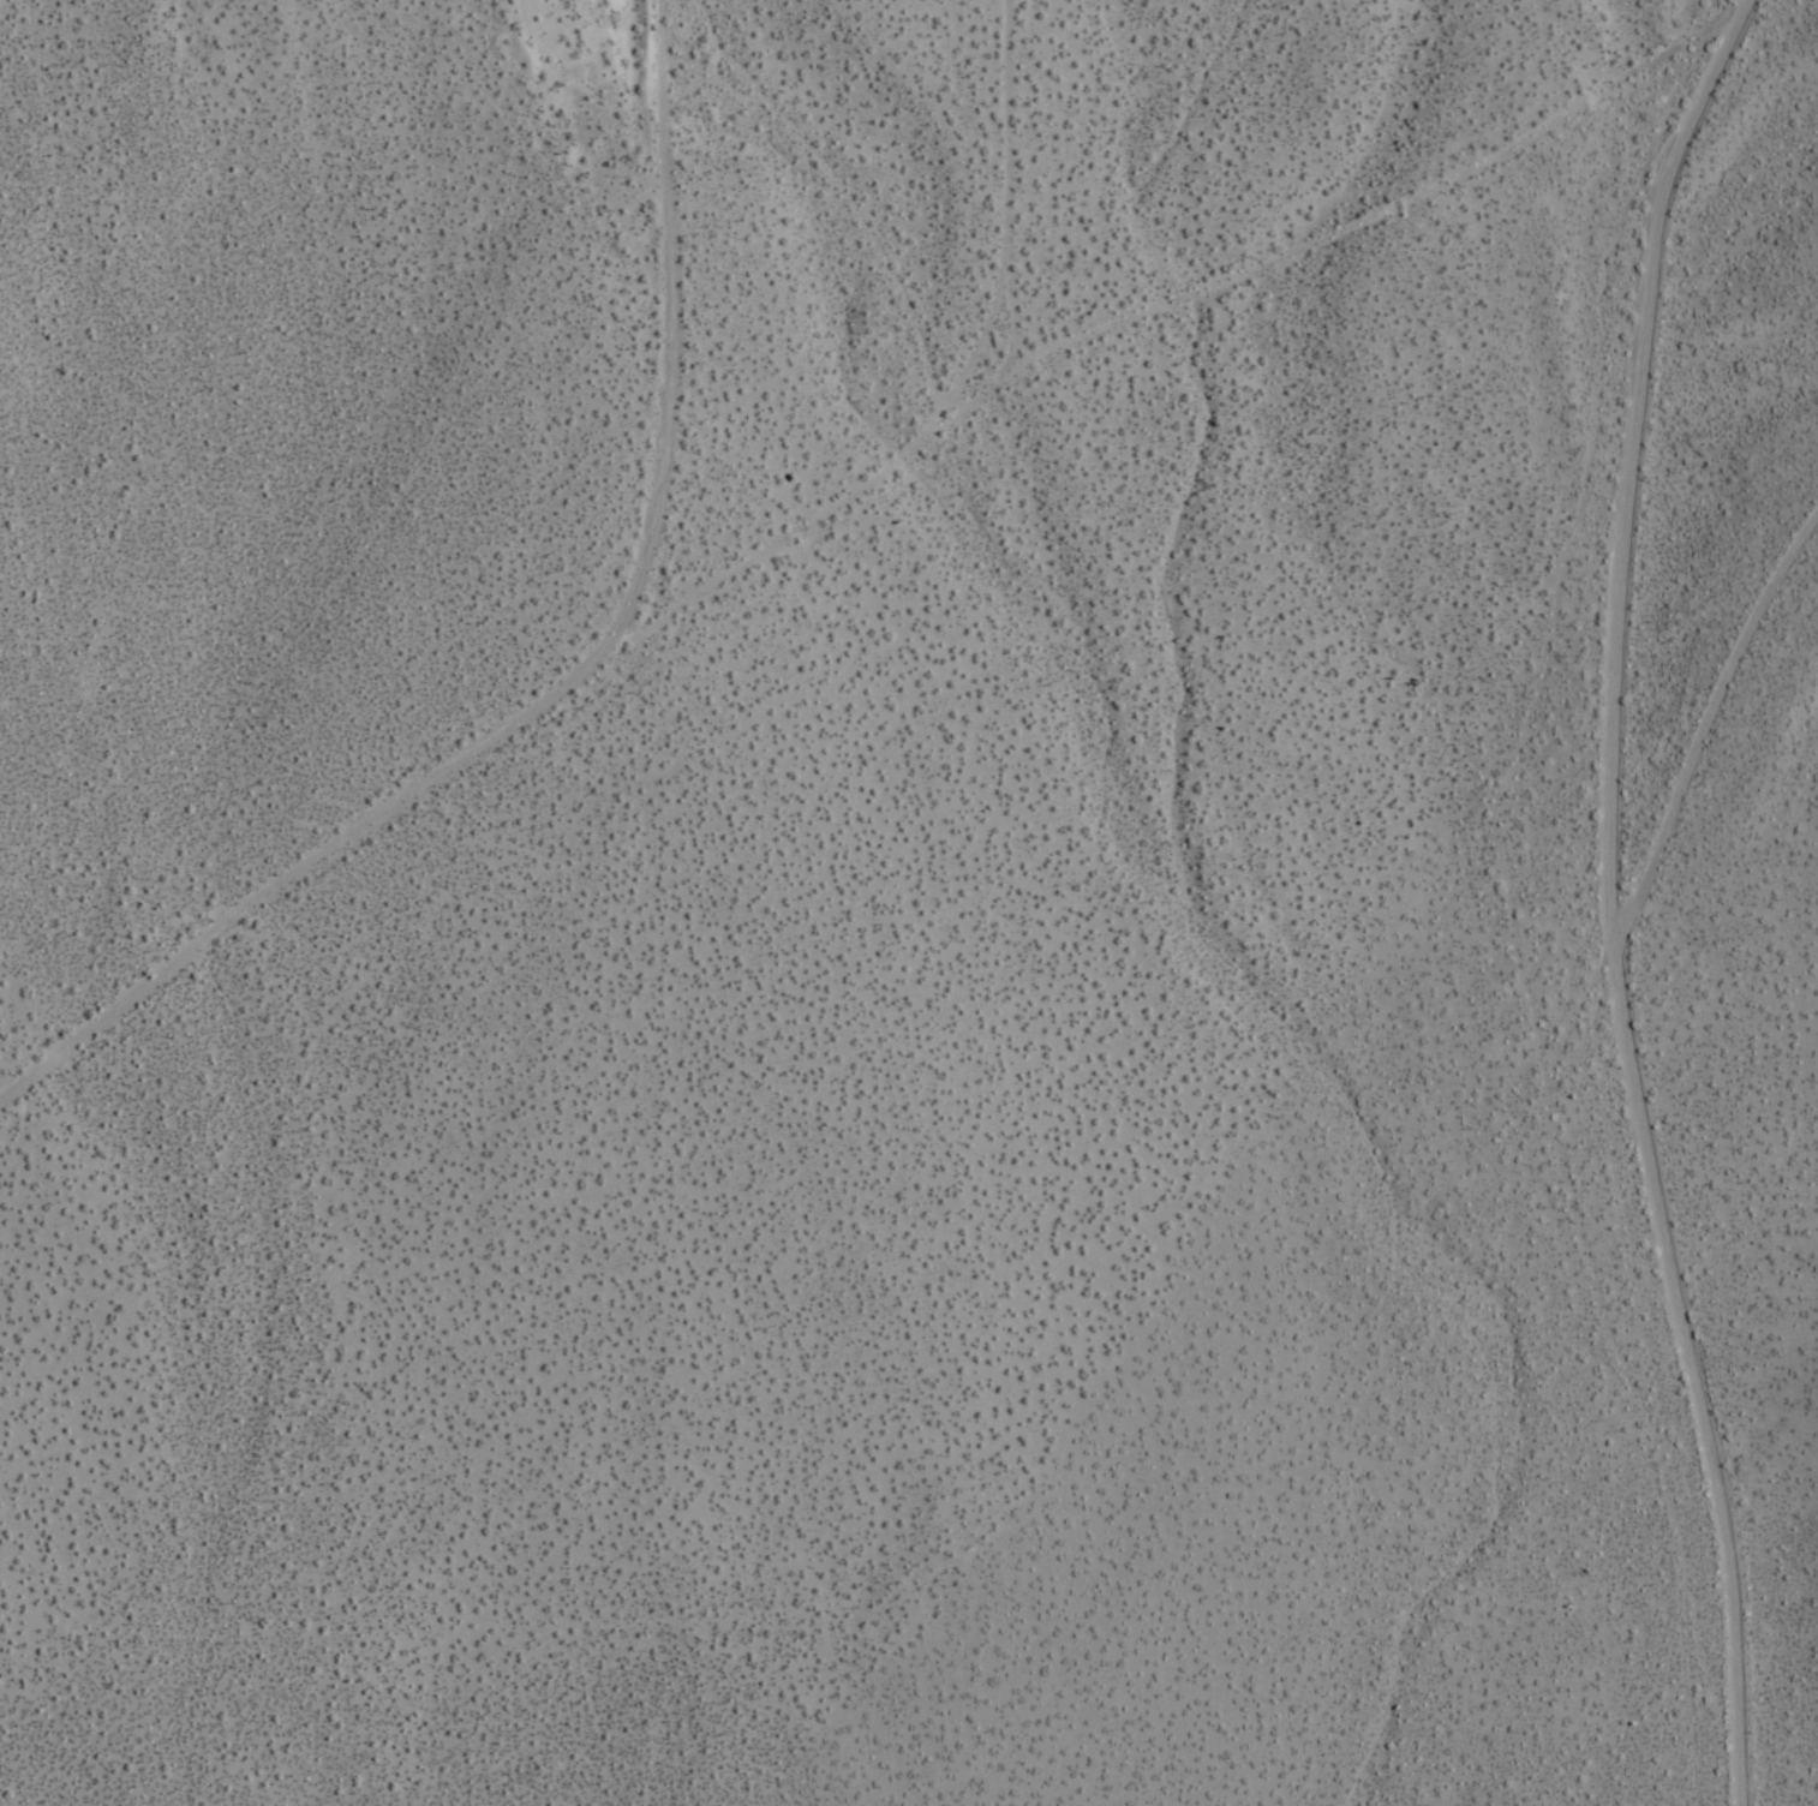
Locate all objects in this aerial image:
road: (1710, 700)

